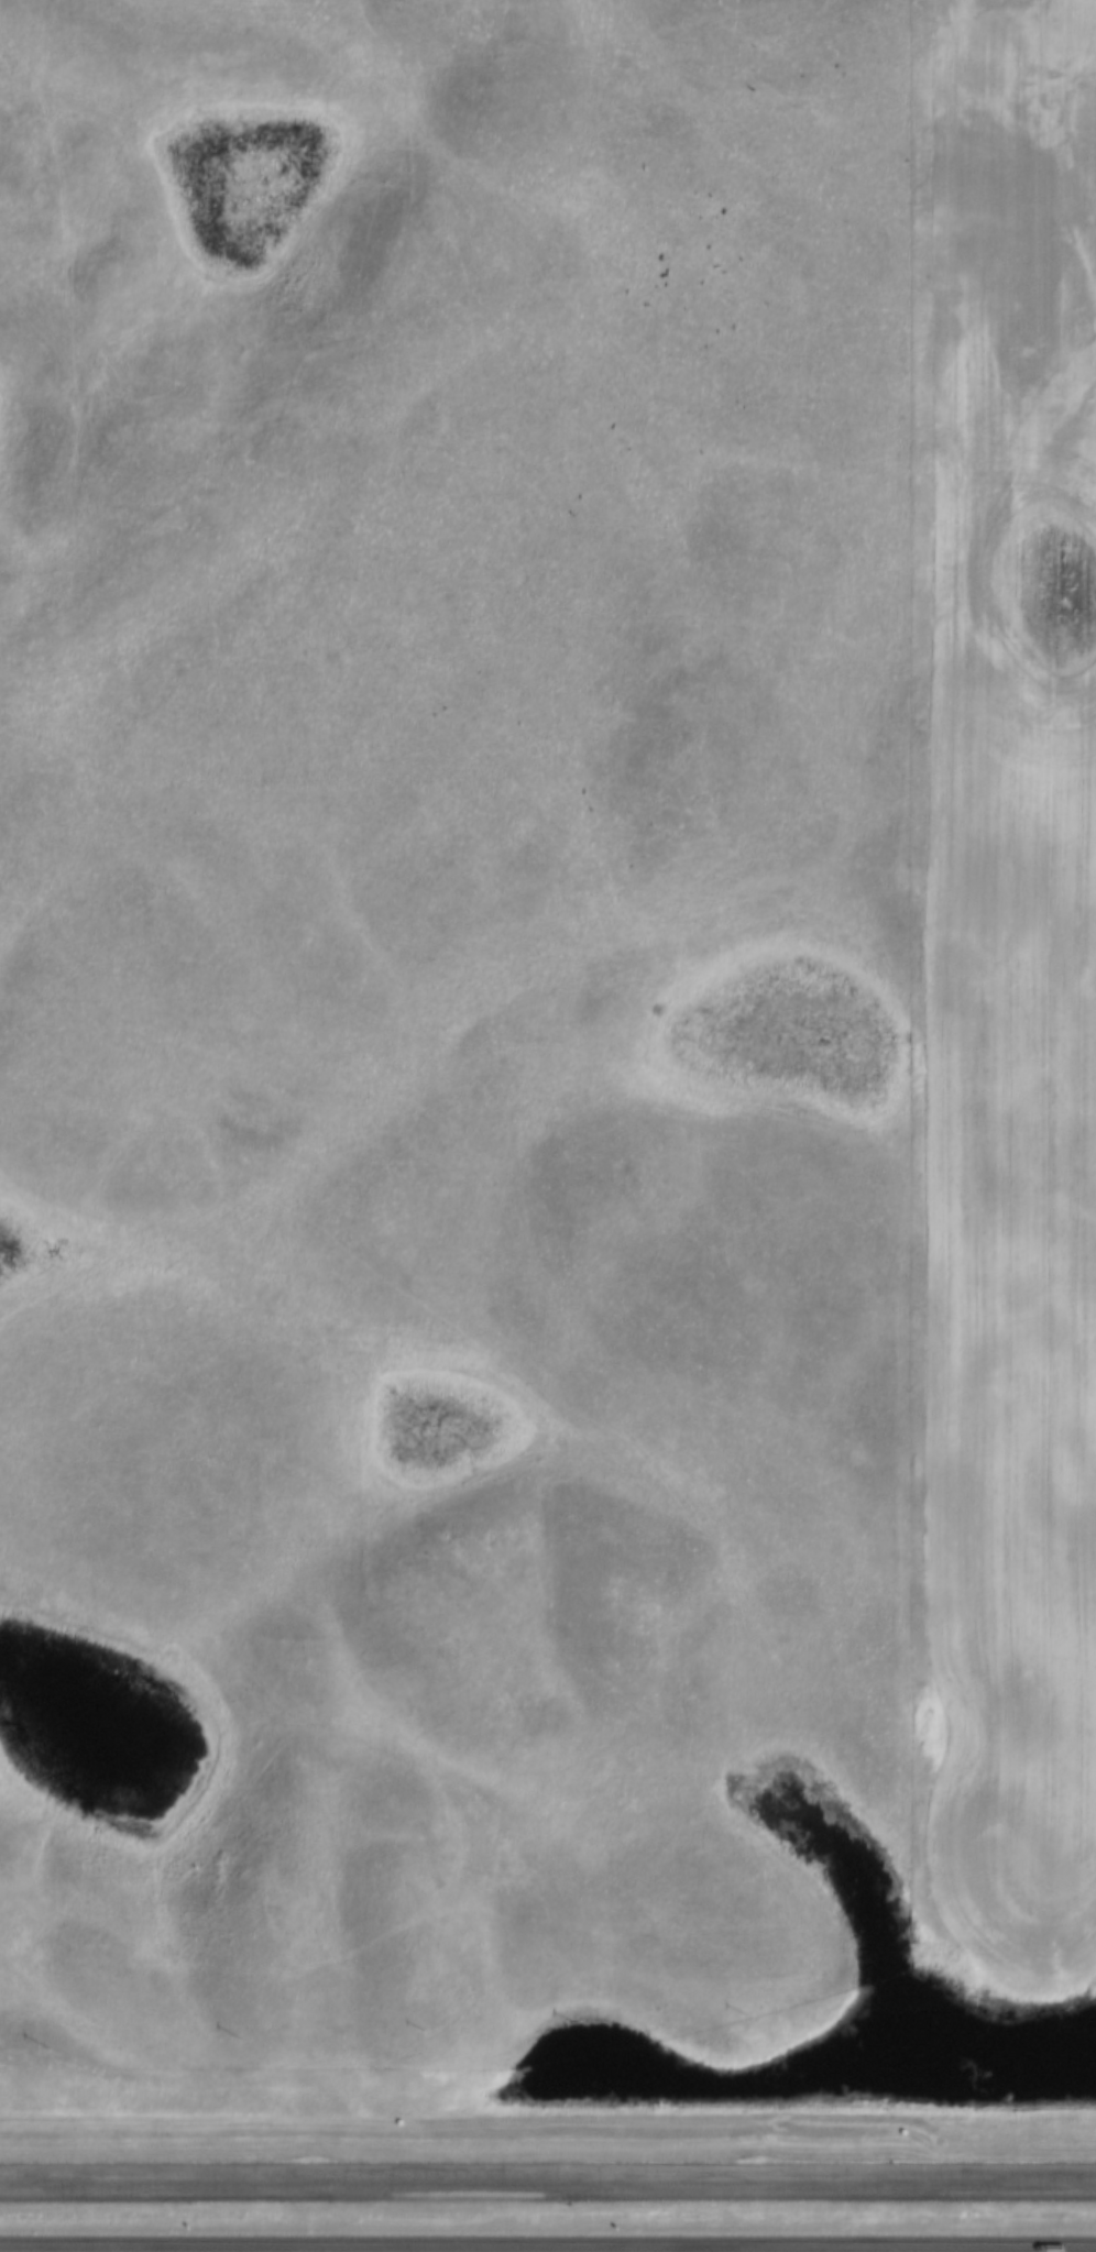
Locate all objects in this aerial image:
road: (547, 2182)
road: (155, 2251)
road: (876, 2251)

